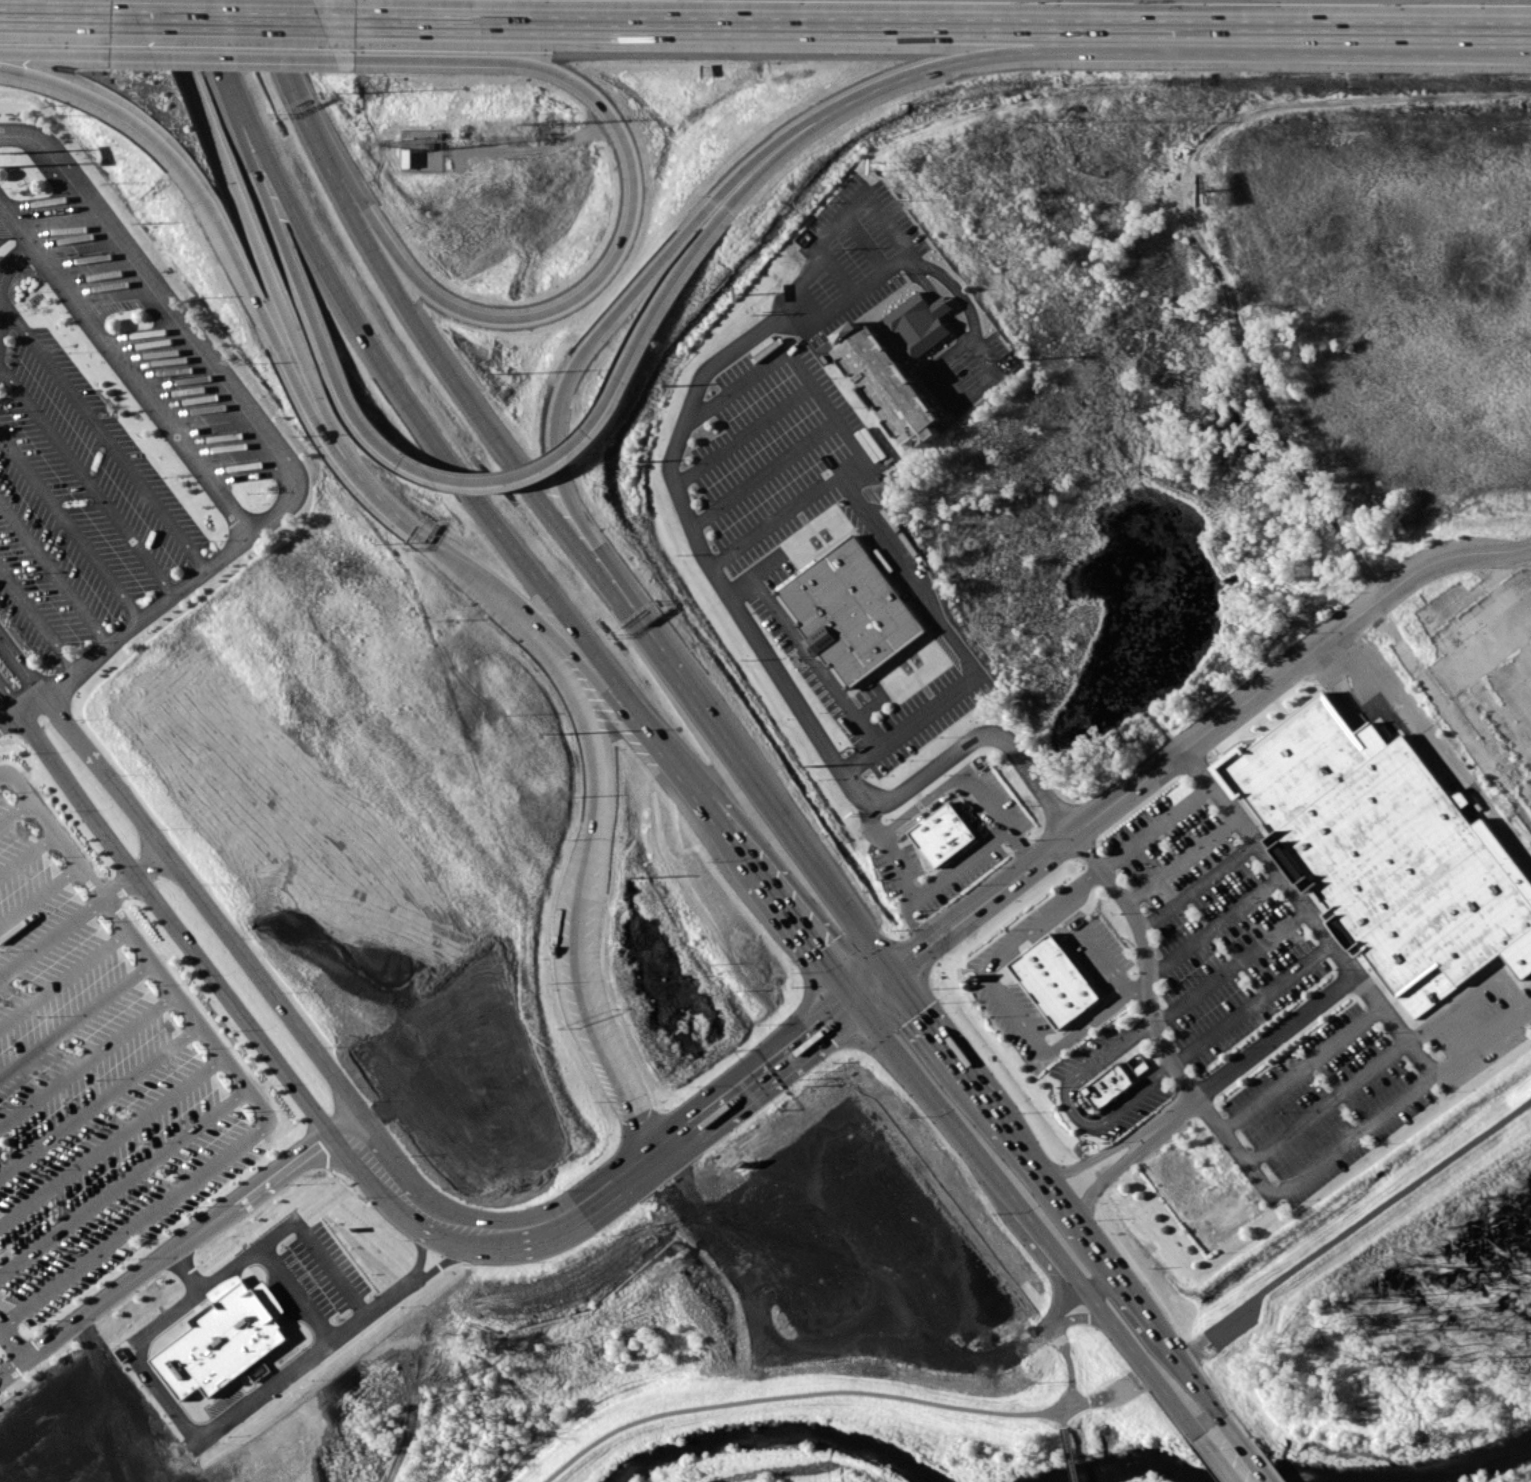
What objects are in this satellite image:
road: (55, 15)
road: (233, 19)
road: (833, 24)
road: (200, 27)
road: (1421, 28)
road: (1085, 50)
road: (55, 53)
road: (230, 55)
road: (698, 246)
road: (9, 260)
road: (235, 263)
road: (603, 272)
road: (264, 273)
road: (297, 283)
road: (153, 288)
building: (920, 322)
parking lot: (144, 338)
road: (584, 352)
road: (990, 362)
road: (124, 364)
road: (794, 371)
road: (425, 429)
road: (102, 433)
road: (740, 441)
road: (85, 476)
road: (512, 478)
road: (761, 478)
road: (543, 502)
parking lot: (77, 503)
road: (682, 514)
road: (70, 525)
road: (439, 546)
road: (53, 572)
road: (911, 579)
road: (157, 604)
building: (853, 610)
road: (37, 619)
road: (800, 656)
road: (582, 663)
road: (591, 728)
road: (1194, 740)
road: (83, 741)
road: (1435, 751)
road: (1192, 772)
road: (14, 809)
road: (920, 811)
road: (713, 812)
road: (996, 820)
road: (870, 826)
road: (1238, 831)
building: (944, 833)
road: (26, 851)
building: (1388, 851)
road: (1177, 864)
road: (957, 870)
road: (894, 871)
road: (1193, 889)
road: (38, 891)
road: (84, 911)
road: (163, 914)
road: (798, 927)
road: (912, 928)
road: (1212, 932)
road: (1107, 959)
road: (1144, 963)
road: (1226, 969)
road: (62, 971)
traffic signals: (899, 971)
building: (1056, 981)
road: (868, 996)
road: (1468, 997)
road: (1007, 999)
traffic signals: (856, 1006)
road: (1248, 1009)
road: (75, 1015)
road: (933, 1017)
road: (295, 1020)
road: (1480, 1046)
road: (602, 1050)
road: (1408, 1054)
road: (86, 1056)
road: (236, 1073)
road: (1298, 1074)
building: (1109, 1085)
road: (985, 1087)
road: (98, 1095)
road: (1324, 1107)
road: (1066, 1112)
road: (350, 1130)
road: (110, 1136)
road: (972, 1147)
road: (1092, 1159)
road: (1038, 1165)
road: (646, 1169)
road: (369, 1171)
road: (122, 1175)
road: (1105, 1177)
road: (297, 1218)
road: (421, 1242)
road: (178, 1244)
road: (455, 1253)
road: (300, 1287)
road: (1082, 1292)
road: (1088, 1320)
road: (1, 1321)
road: (1151, 1321)
road: (14, 1335)
building: (226, 1338)
road: (1007, 1350)
road: (1069, 1364)
road: (1147, 1364)
road: (15, 1365)
road: (792, 1393)
road: (1113, 1393)
road: (1075, 1405)
road: (1063, 1416)
road: (213, 1426)
river: (773, 1435)
road: (1071, 1453)
road: (1233, 1455)
park: (774, 1466)
river: (1292, 1479)

